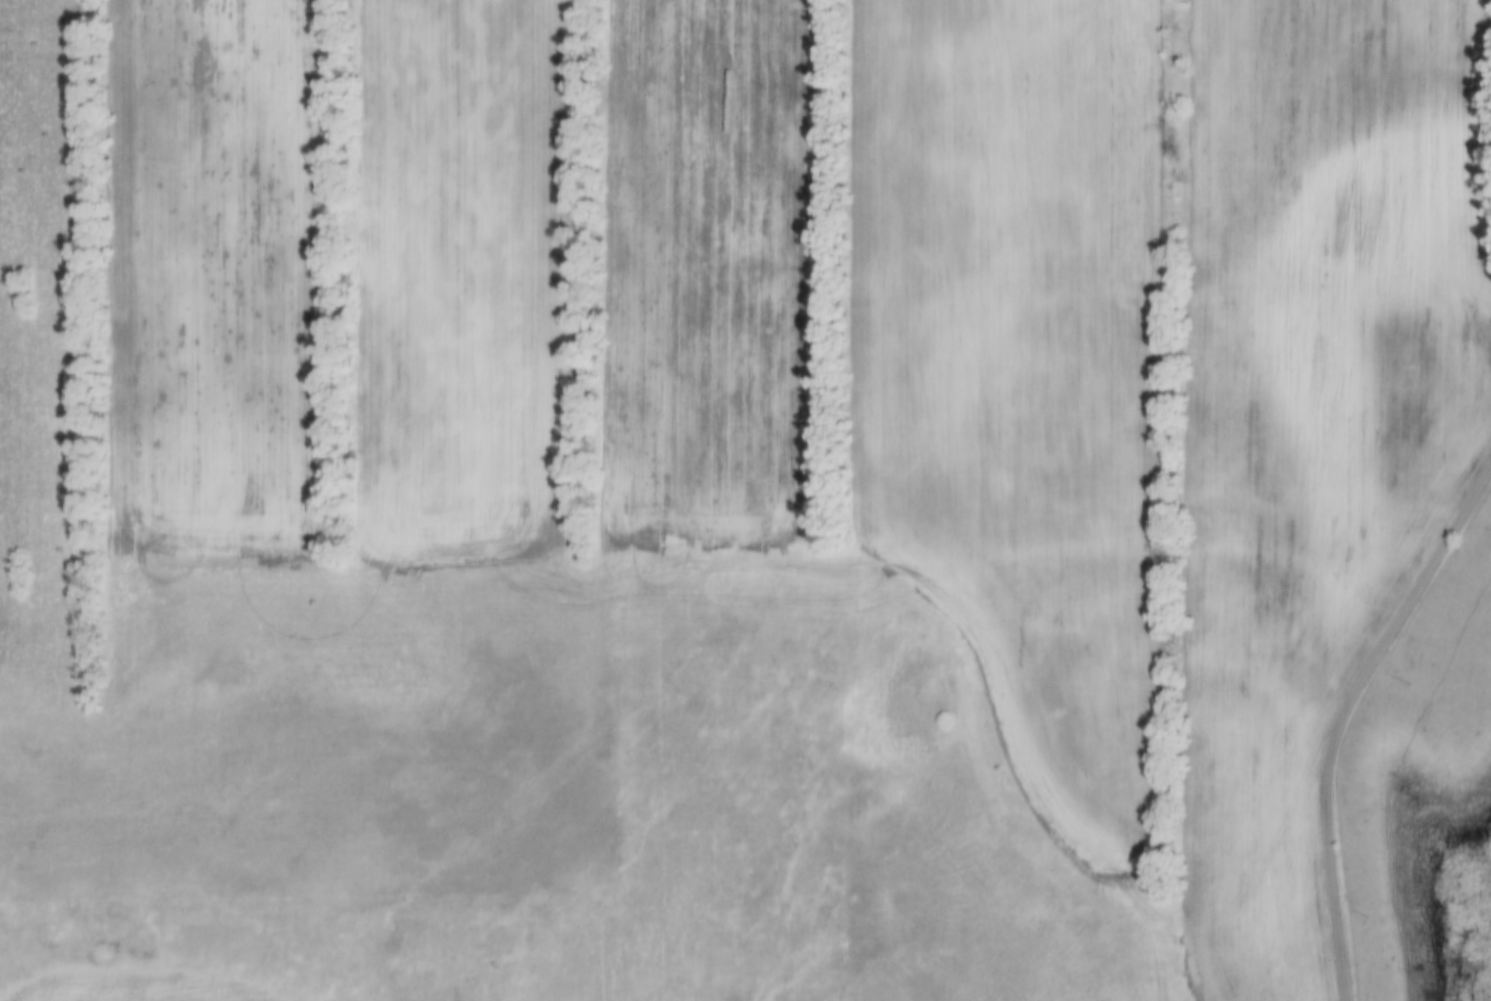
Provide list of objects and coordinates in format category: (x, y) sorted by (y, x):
road: (1339, 712)

